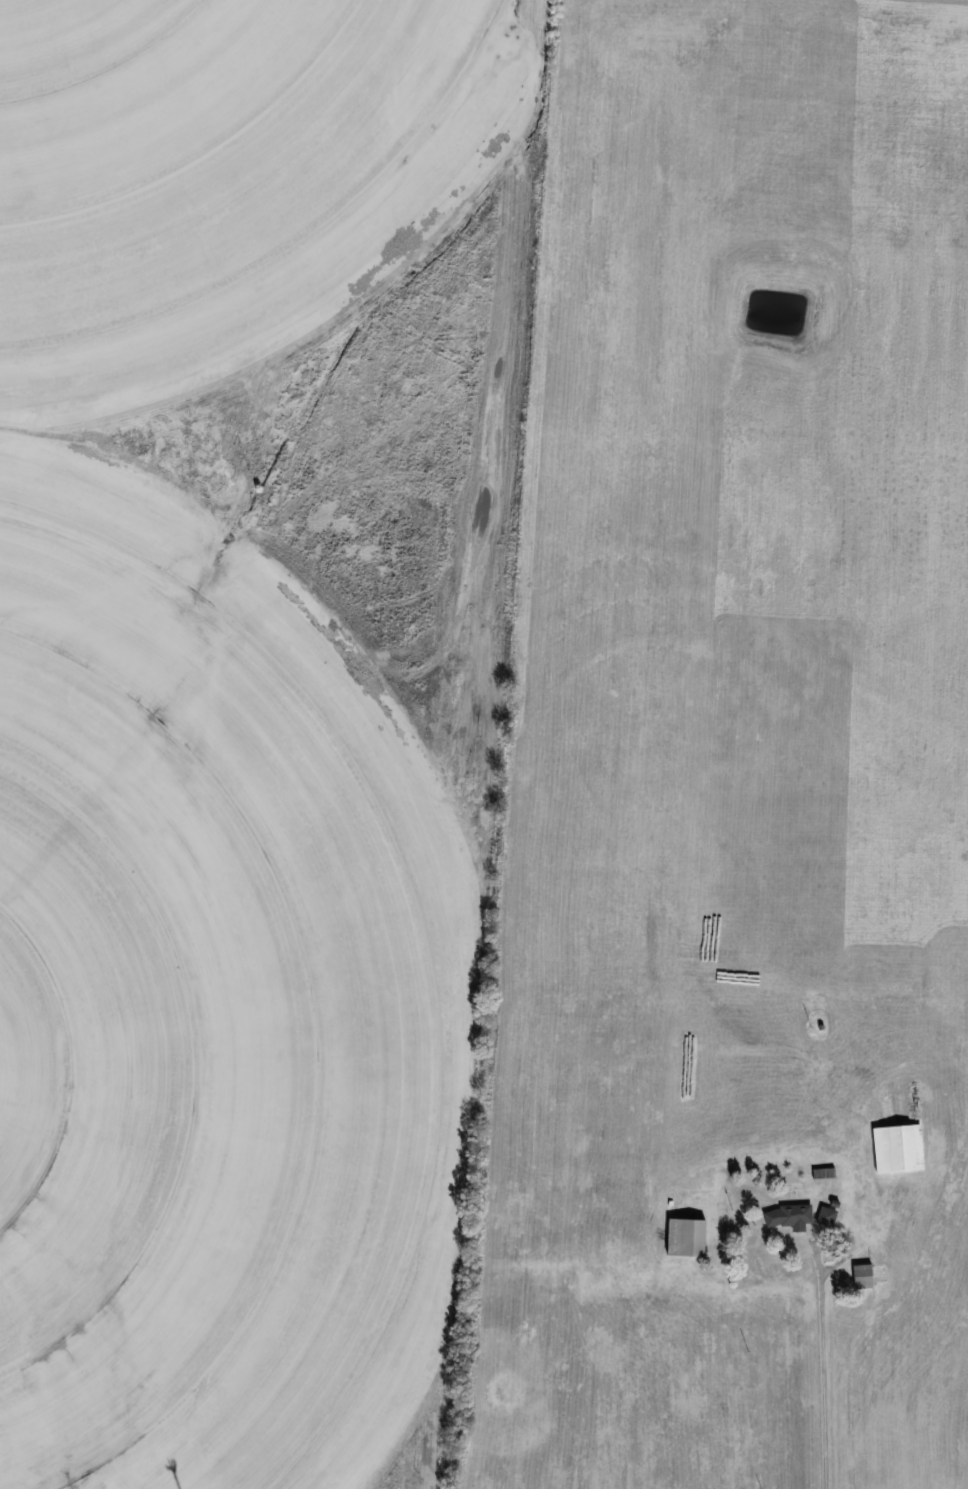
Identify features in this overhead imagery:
building: (899, 1147)
building: (801, 1216)
building: (688, 1237)
building: (864, 1276)
road: (824, 1385)

